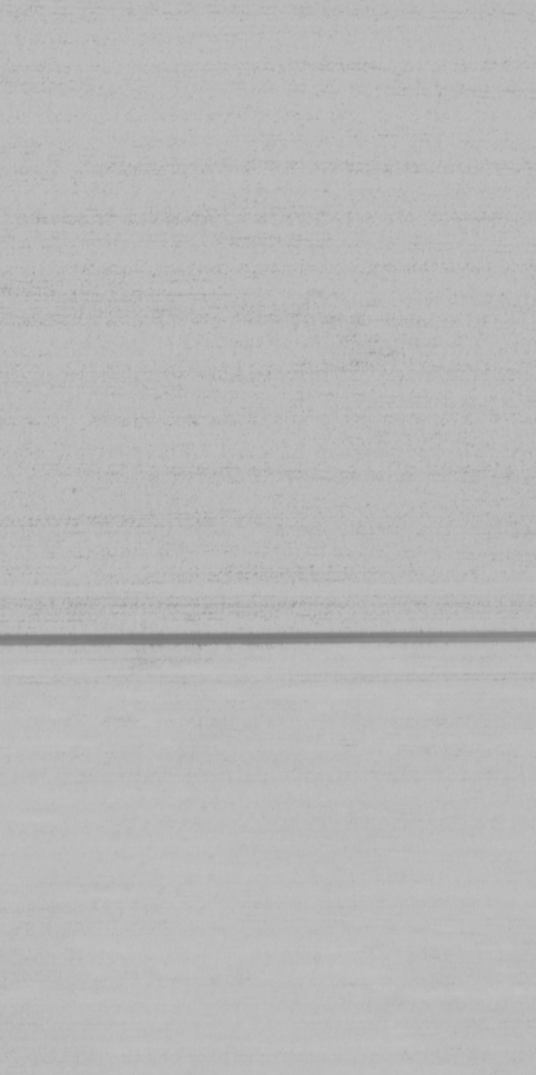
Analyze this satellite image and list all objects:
road: (267, 647)

